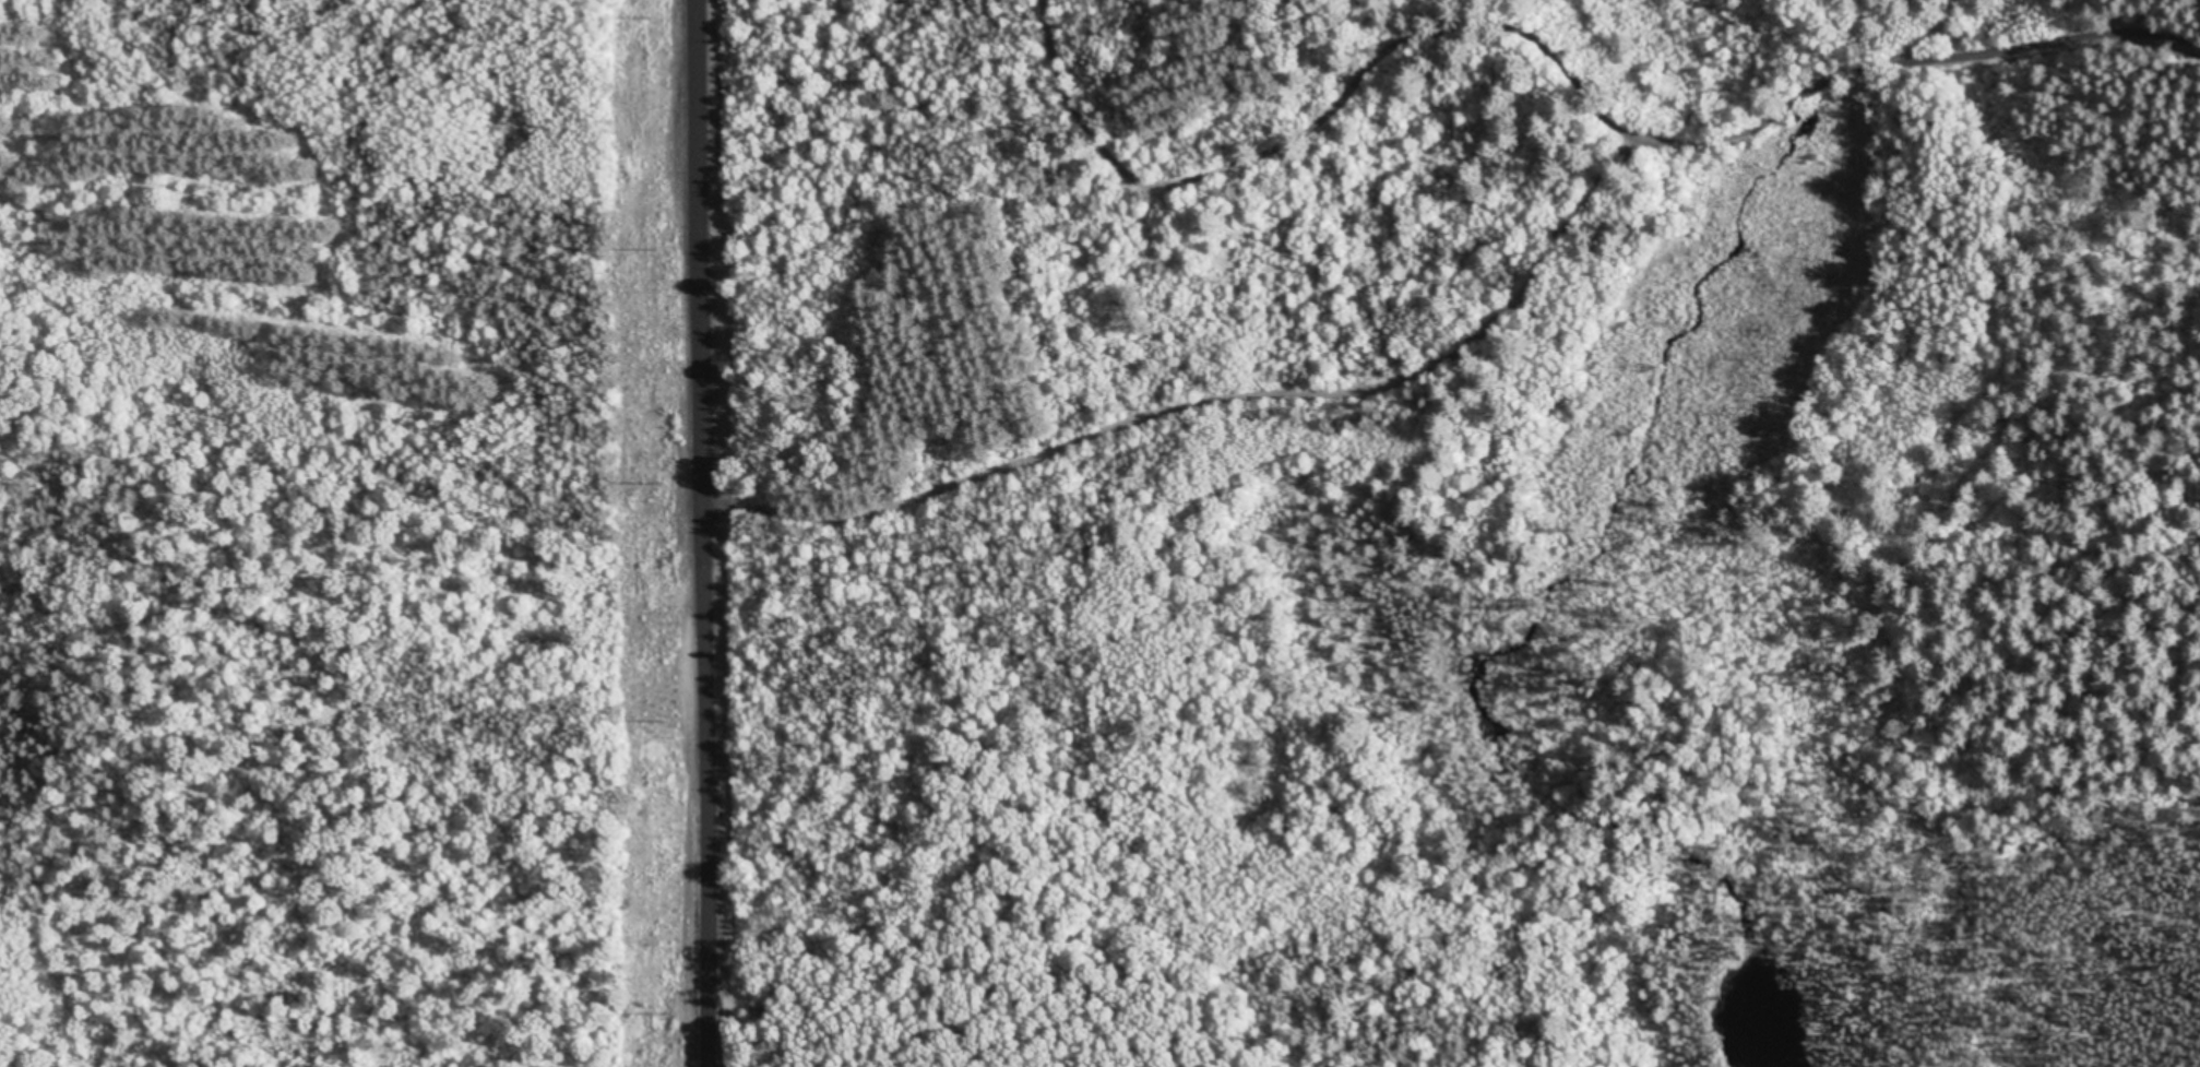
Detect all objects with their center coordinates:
road: (2073, 33)
road: (1704, 86)
road: (1218, 351)
road: (706, 533)

